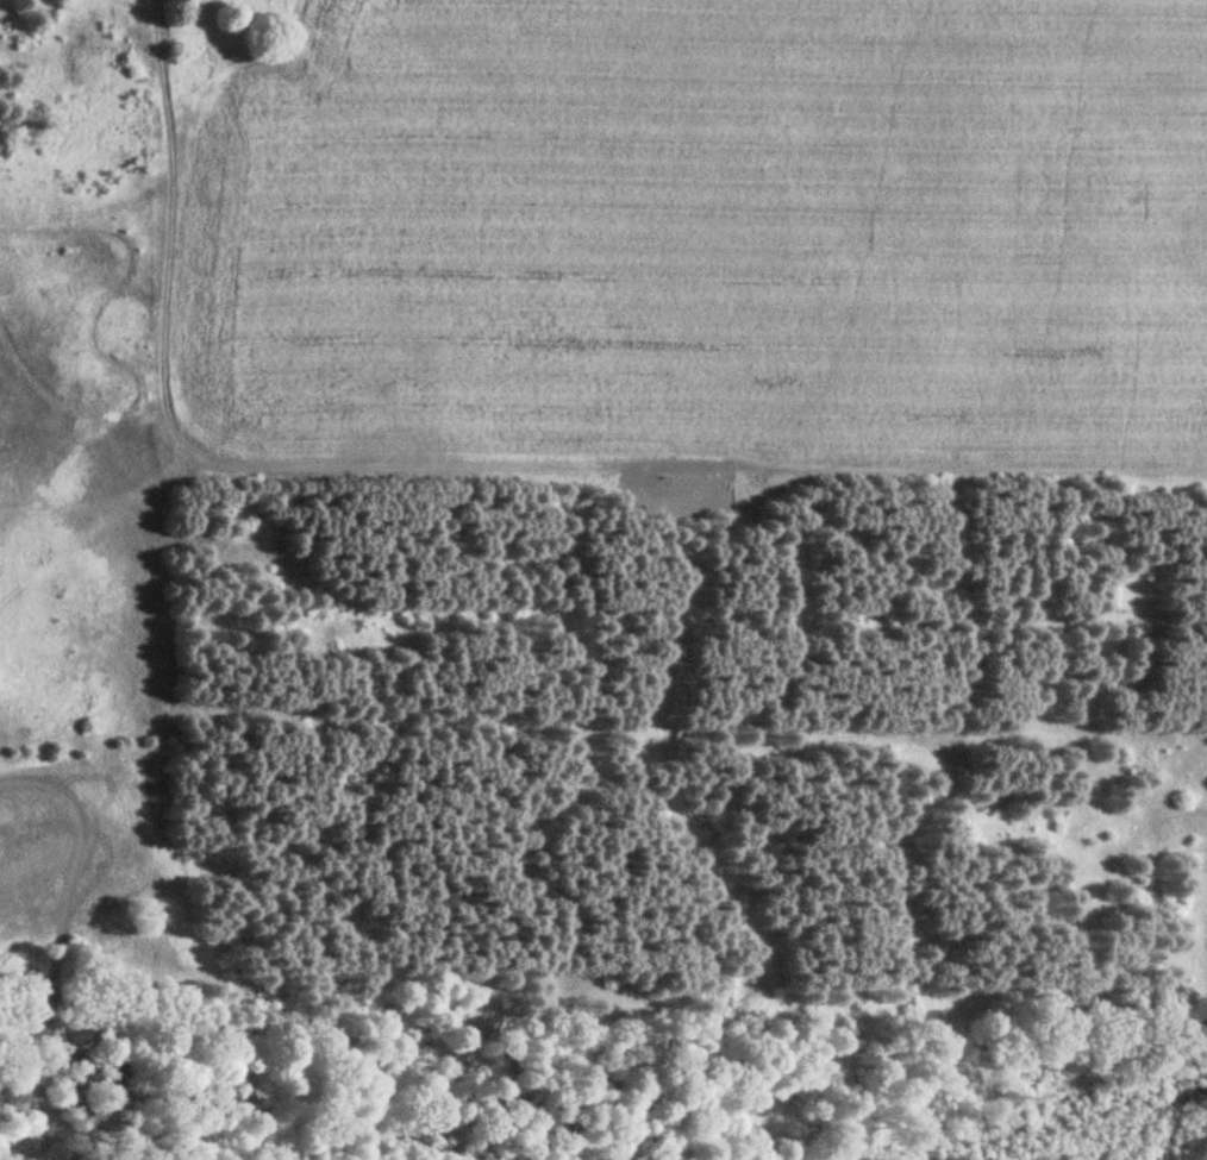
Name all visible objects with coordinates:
road: (934, 465)

